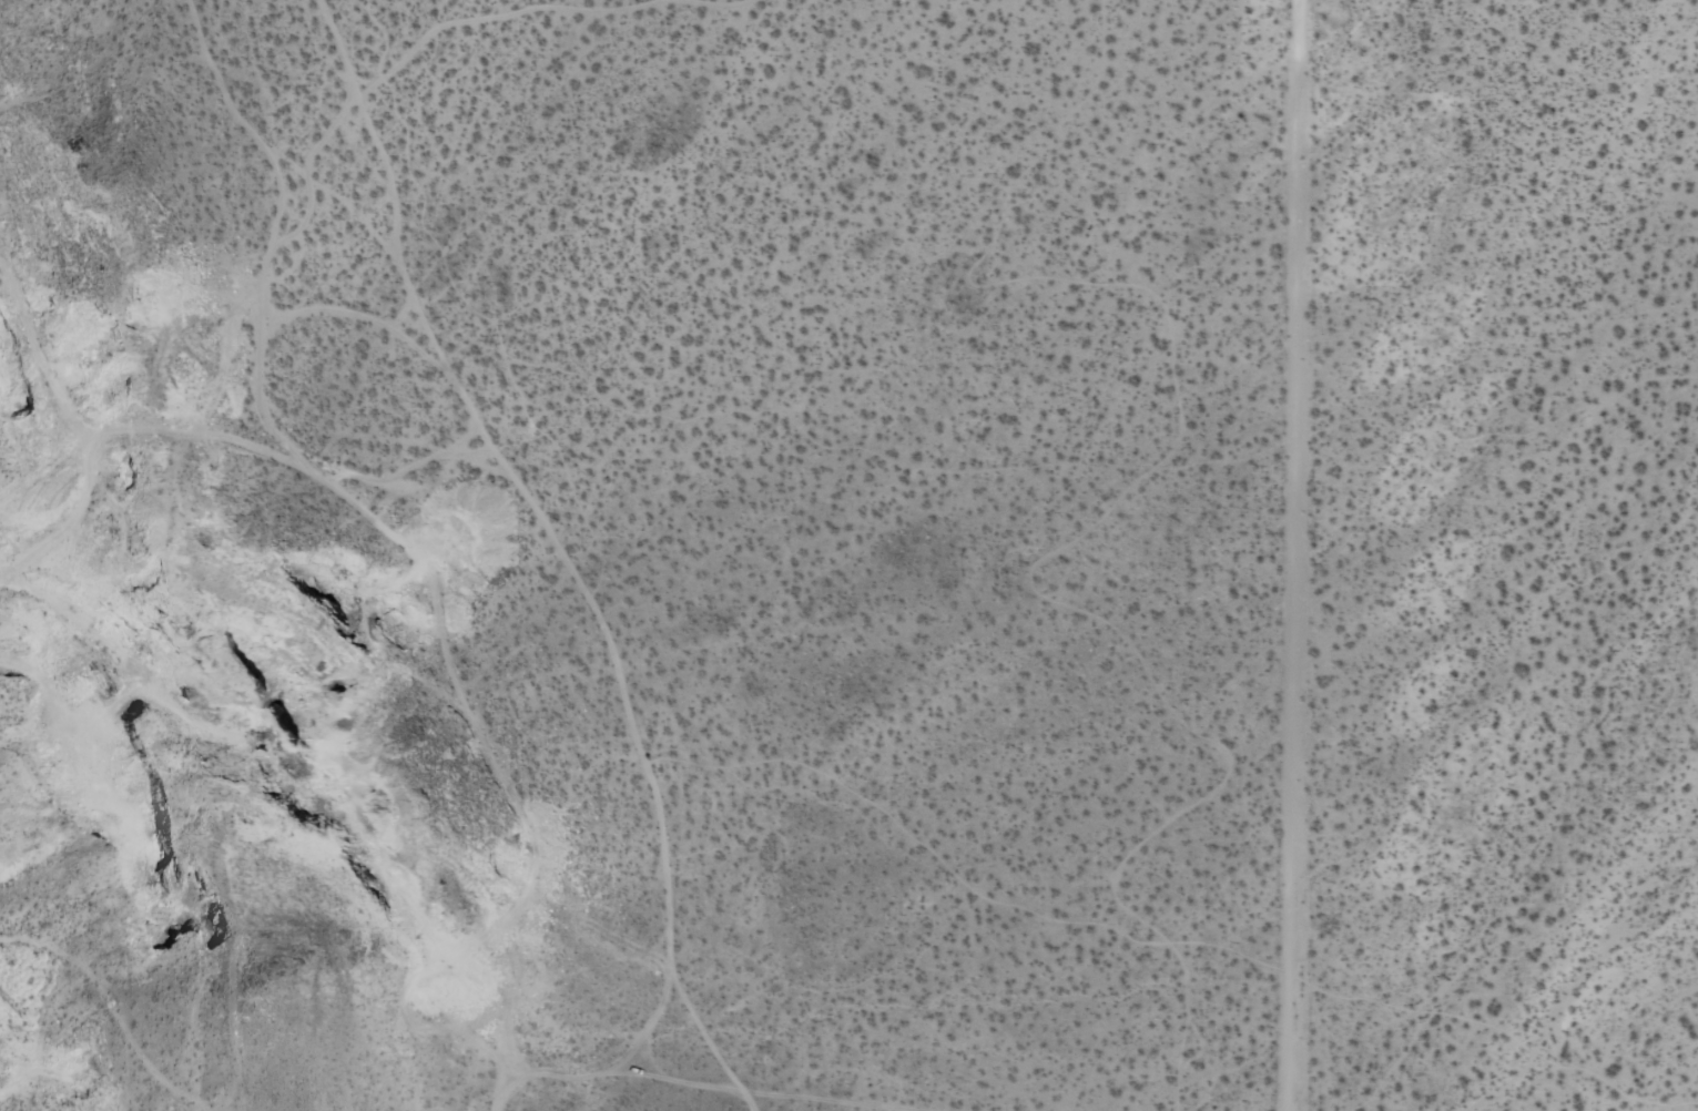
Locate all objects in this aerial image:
road: (1291, 554)
quarry: (287, 704)

